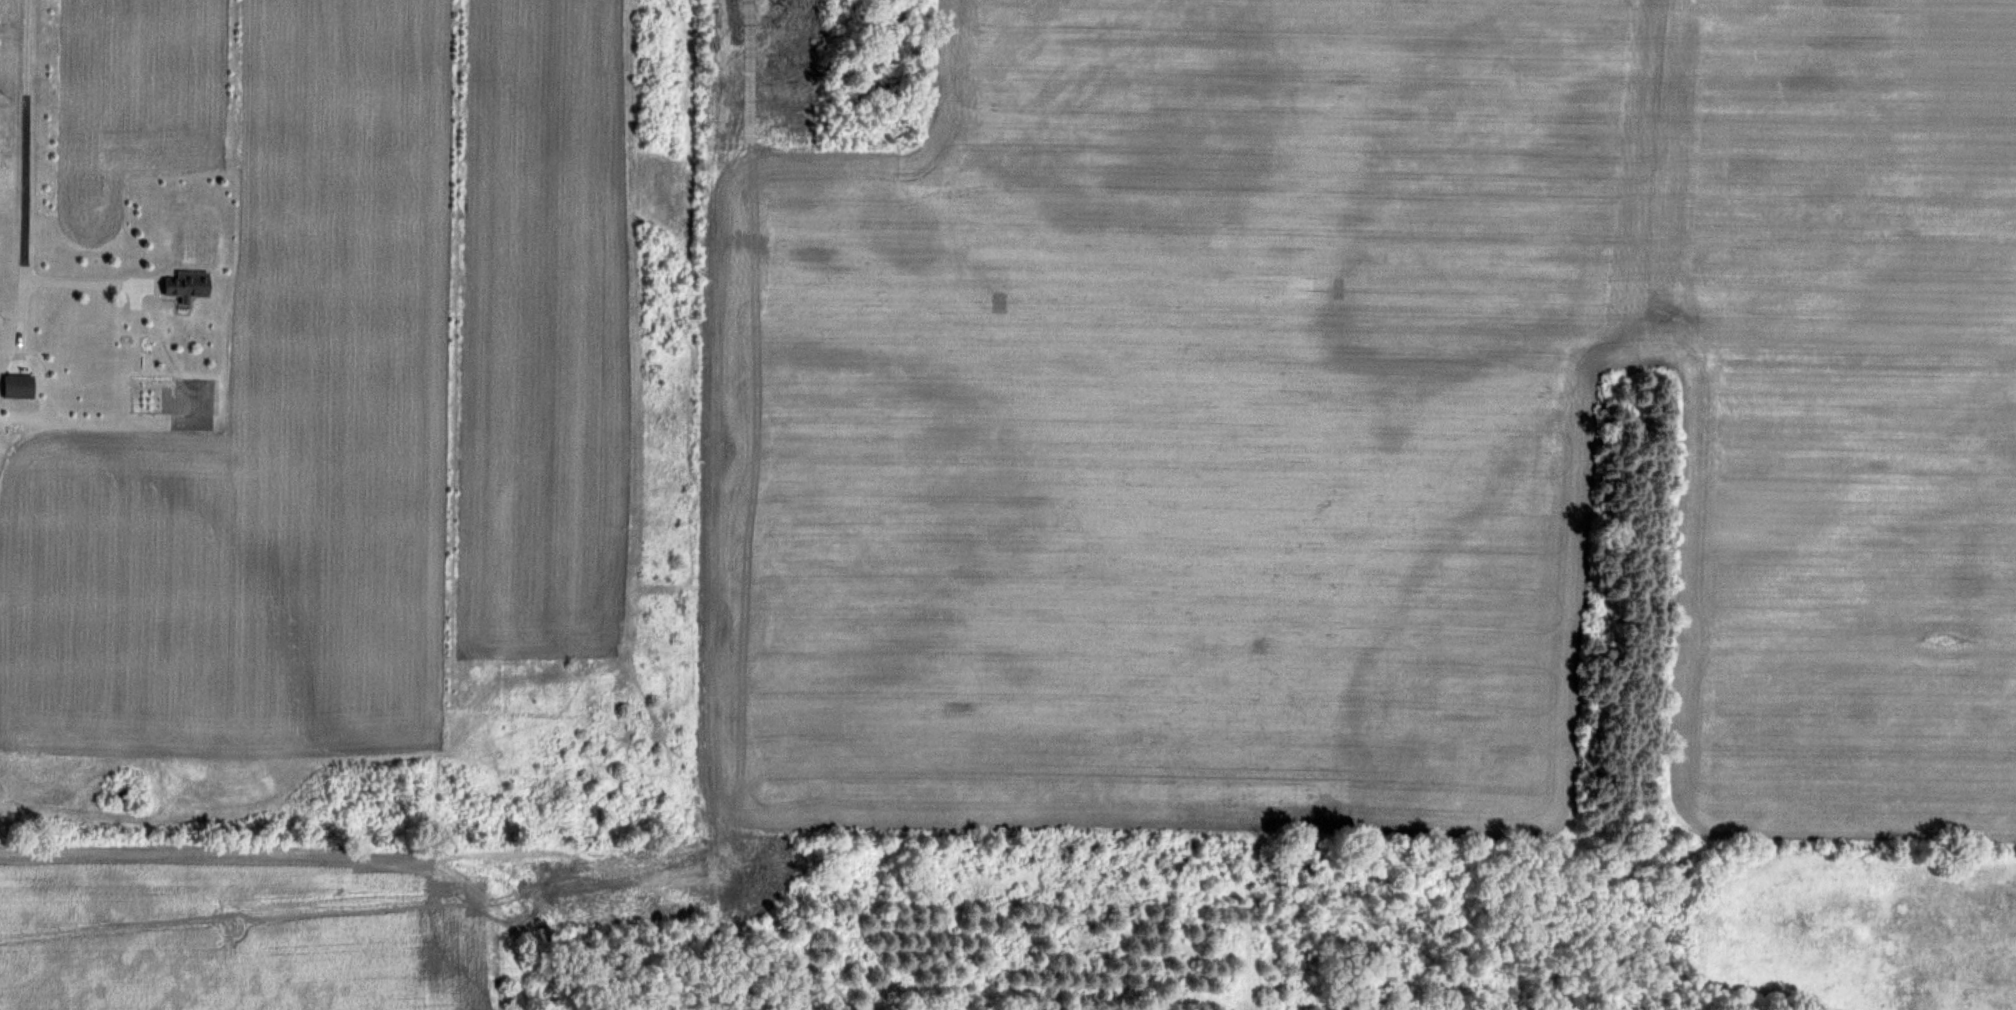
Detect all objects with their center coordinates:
road: (23, 139)
building: (187, 284)
building: (19, 385)

